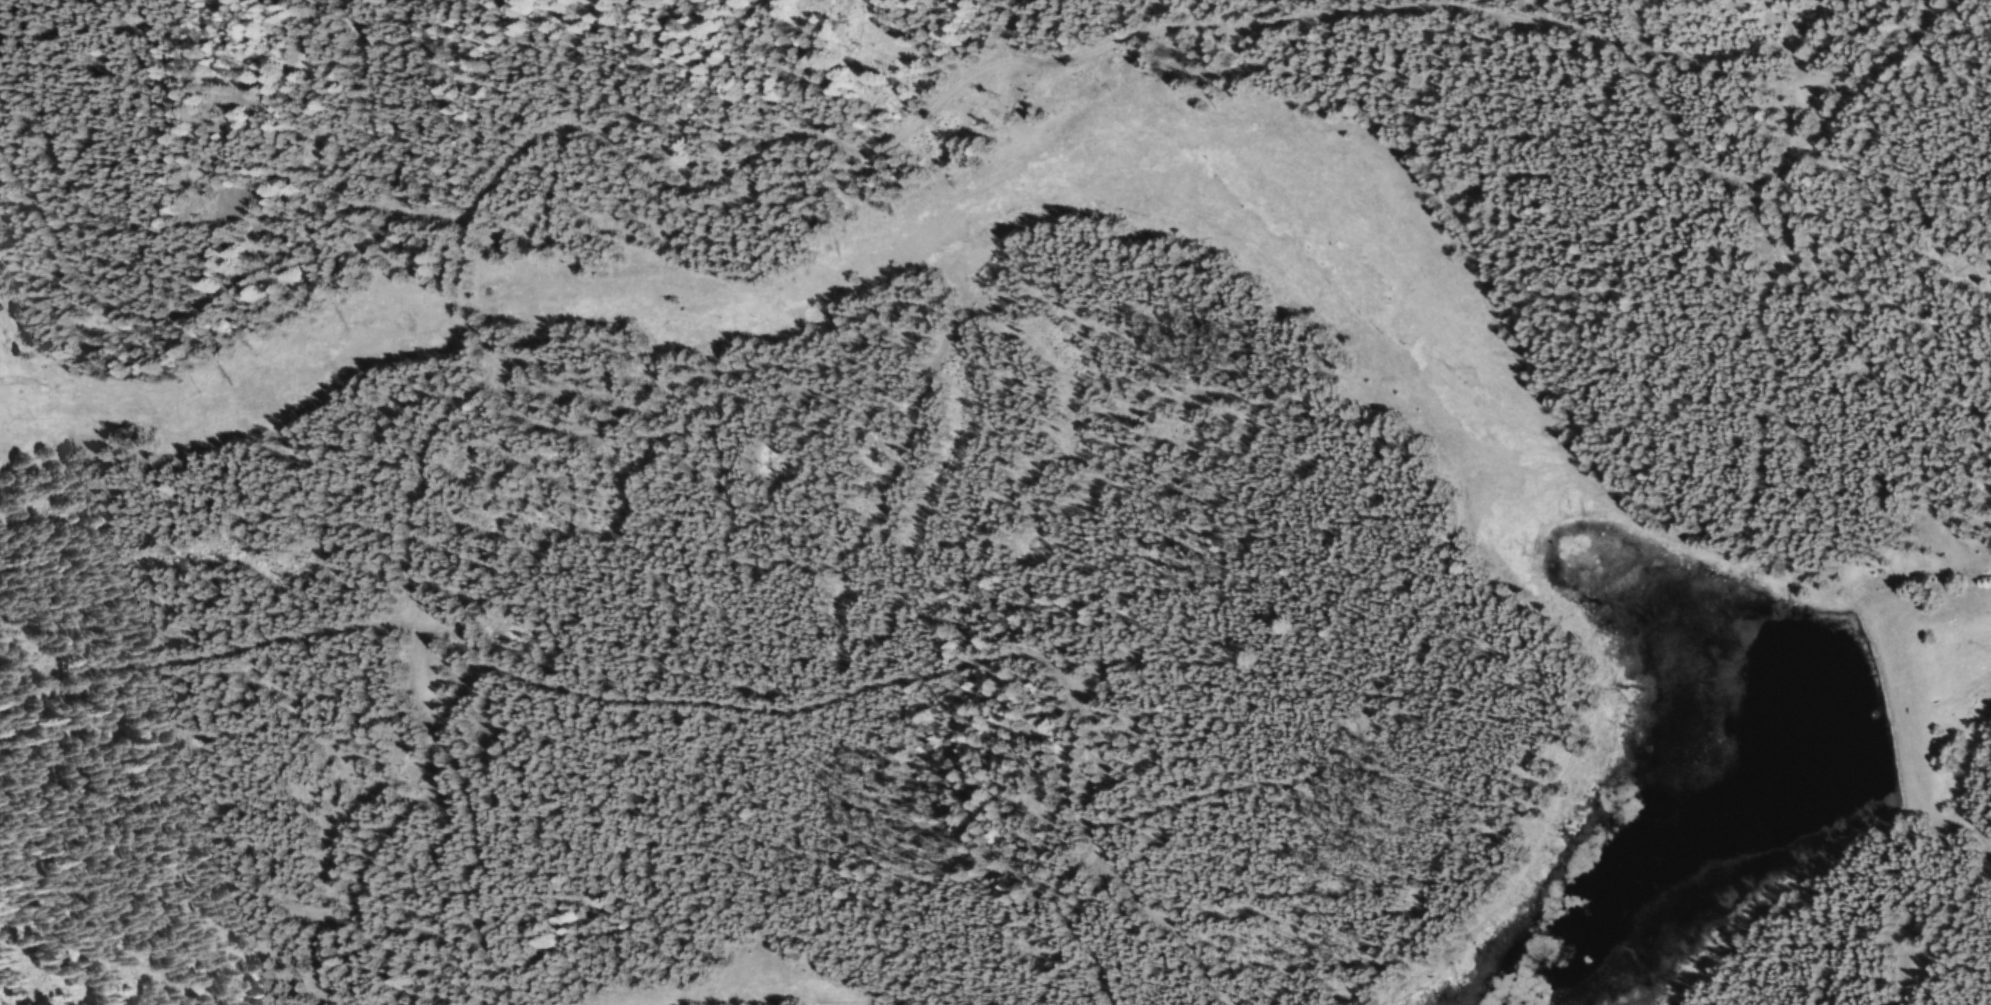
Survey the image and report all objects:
road: (957, 83)

